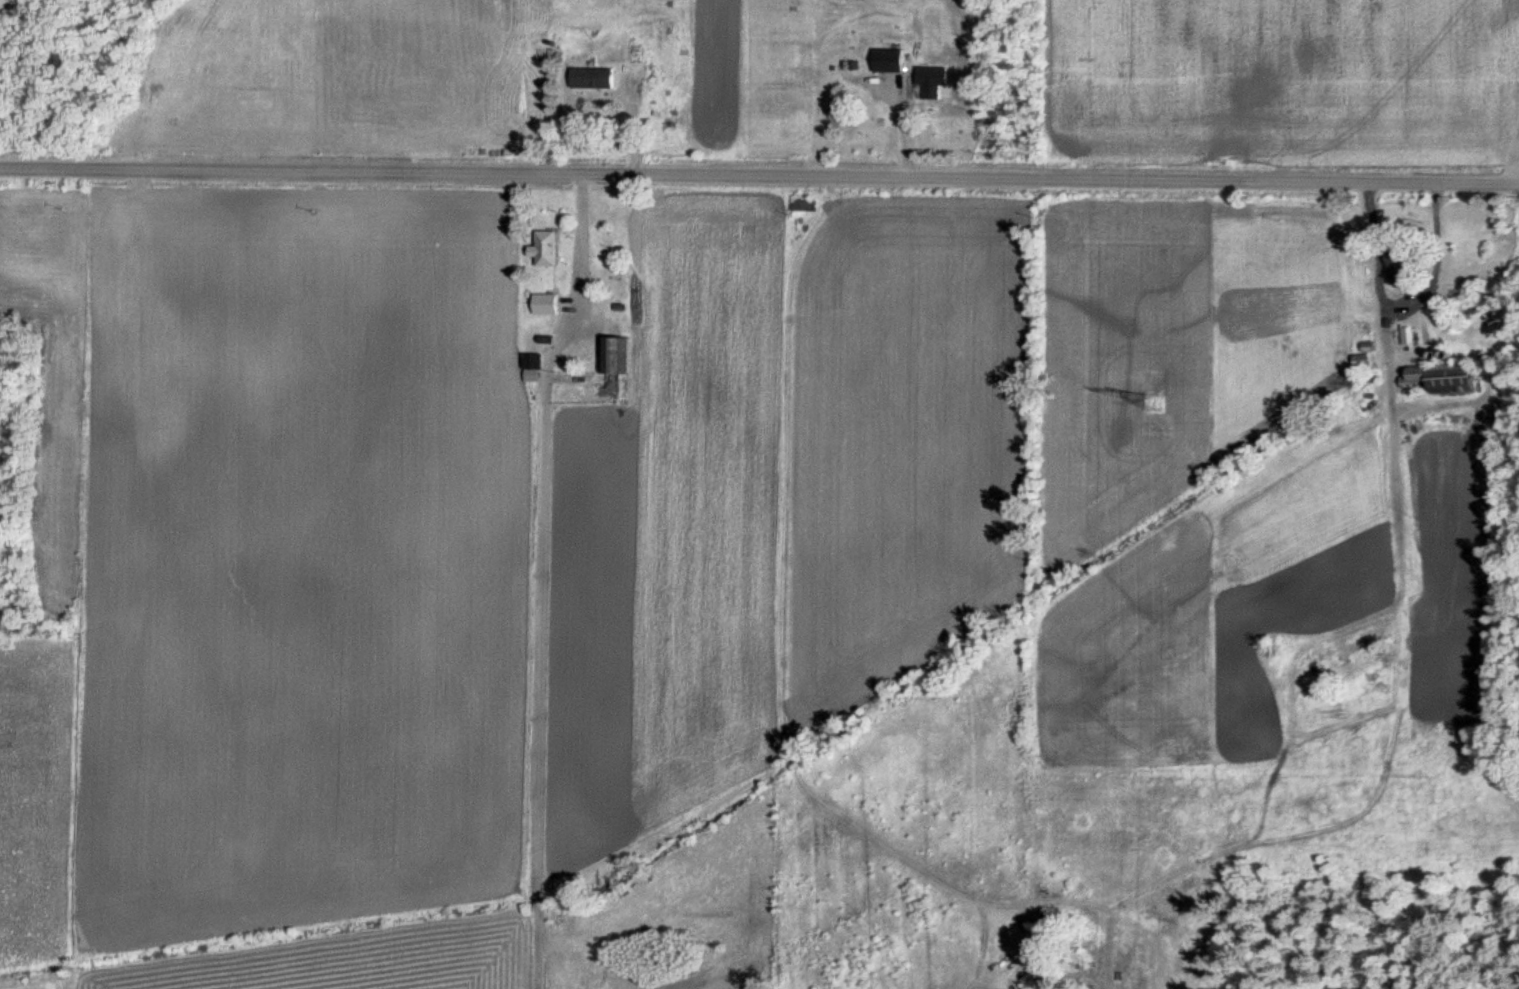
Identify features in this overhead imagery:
building: (893, 61)
building: (642, 72)
building: (936, 77)
building: (598, 80)
road: (899, 128)
road: (759, 180)
building: (551, 249)
road: (1361, 255)
building: (1402, 267)
road: (574, 274)
building: (1458, 293)
building: (614, 356)
building: (1363, 360)
building: (534, 362)
building: (1448, 378)
power tower: (1156, 404)
building: (1371, 409)

